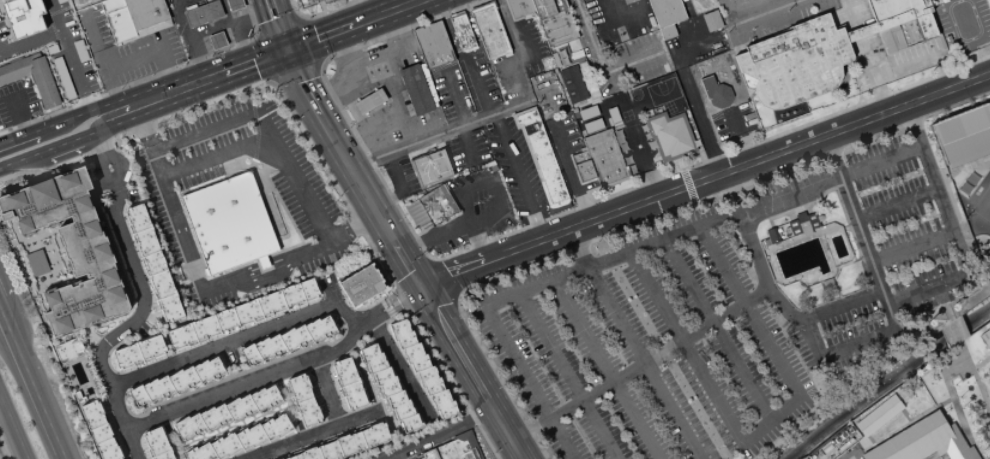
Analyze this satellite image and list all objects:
building: (927, 0)
building: (941, 0)
building: (324, 1)
road: (348, 1)
building: (305, 3)
road: (399, 3)
building: (554, 3)
building: (236, 4)
road: (269, 4)
building: (561, 6)
building: (896, 7)
road: (373, 8)
building: (517, 8)
building: (541, 8)
road: (258, 11)
building: (666, 12)
building: (204, 13)
road: (320, 13)
road: (851, 13)
road: (53, 15)
road: (378, 15)
building: (23, 17)
road: (299, 17)
road: (754, 17)
building: (134, 18)
gas station: (619, 20)
building: (711, 20)
road: (393, 23)
gas station: (209, 24)
building: (878, 24)
road: (210, 26)
road: (277, 27)
building: (924, 27)
building: (556, 28)
road: (277, 29)
building: (489, 30)
building: (461, 31)
building: (667, 32)
road: (858, 32)
road: (255, 34)
road: (960, 35)
building: (896, 37)
road: (93, 39)
building: (219, 40)
road: (311, 40)
road: (29, 41)
road: (306, 41)
building: (886, 41)
road: (341, 42)
building: (433, 45)
building: (51, 49)
traffic signals: (285, 50)
road: (244, 51)
road: (90, 55)
road: (576, 55)
road: (263, 56)
road: (266, 56)
road: (131, 59)
road: (523, 62)
building: (794, 62)
road: (319, 64)
road: (600, 64)
road: (202, 67)
building: (733, 67)
building: (16, 69)
road: (165, 69)
road: (293, 70)
road: (72, 72)
road: (873, 74)
building: (63, 78)
road: (144, 78)
road: (270, 80)
building: (45, 82)
road: (478, 83)
building: (571, 84)
road: (247, 87)
road: (688, 87)
road: (180, 88)
building: (428, 88)
road: (111, 89)
building: (414, 89)
gas station: (385, 91)
building: (715, 92)
road: (320, 98)
road: (456, 98)
road: (651, 100)
building: (368, 101)
road: (409, 106)
road: (17, 115)
road: (73, 116)
road: (913, 124)
road: (216, 126)
road: (31, 133)
road: (435, 135)
building: (669, 135)
building: (963, 135)
road: (738, 137)
road: (76, 138)
road: (12, 139)
road: (268, 140)
road: (639, 145)
road: (349, 146)
road: (464, 146)
road: (337, 152)
building: (539, 155)
building: (577, 156)
building: (603, 157)
road: (17, 159)
building: (430, 168)
road: (853, 169)
building: (582, 171)
road: (567, 173)
road: (518, 176)
road: (703, 179)
road: (400, 187)
road: (461, 193)
road: (896, 202)
building: (430, 207)
road: (854, 216)
building: (230, 223)
road: (635, 224)
road: (466, 226)
road: (523, 227)
building: (791, 228)
road: (478, 242)
road: (913, 246)
building: (70, 249)
road: (287, 257)
road: (431, 260)
building: (265, 262)
building: (36, 263)
building: (153, 263)
road: (266, 264)
road: (407, 269)
building: (206, 272)
road: (412, 273)
road: (240, 274)
park: (889, 275)
road: (440, 278)
building: (361, 285)
road: (201, 287)
traffic signals: (418, 287)
road: (776, 289)
road: (455, 296)
road: (403, 299)
road: (141, 303)
road: (430, 303)
parking lot: (736, 308)
road: (1, 313)
building: (242, 314)
road: (719, 328)
road: (956, 333)
road: (240, 337)
building: (985, 337)
building: (287, 340)
road: (635, 344)
road: (686, 348)
building: (67, 349)
building: (138, 352)
road: (773, 352)
road: (667, 359)
road: (980, 361)
road: (643, 366)
building: (422, 369)
road: (605, 369)
road: (279, 370)
road: (394, 370)
road: (469, 372)
road: (568, 375)
park: (984, 380)
building: (175, 382)
road: (530, 382)
road: (30, 384)
building: (348, 384)
road: (977, 384)
road: (453, 385)
building: (389, 388)
road: (325, 393)
building: (303, 400)
building: (224, 413)
building: (877, 416)
road: (13, 427)
building: (99, 430)
road: (434, 435)
road: (314, 436)
building: (238, 440)
building: (922, 441)
building: (157, 444)
building: (346, 445)
building: (457, 447)
road: (932, 447)
building: (423, 454)
road: (62, 455)
road: (847, 455)

